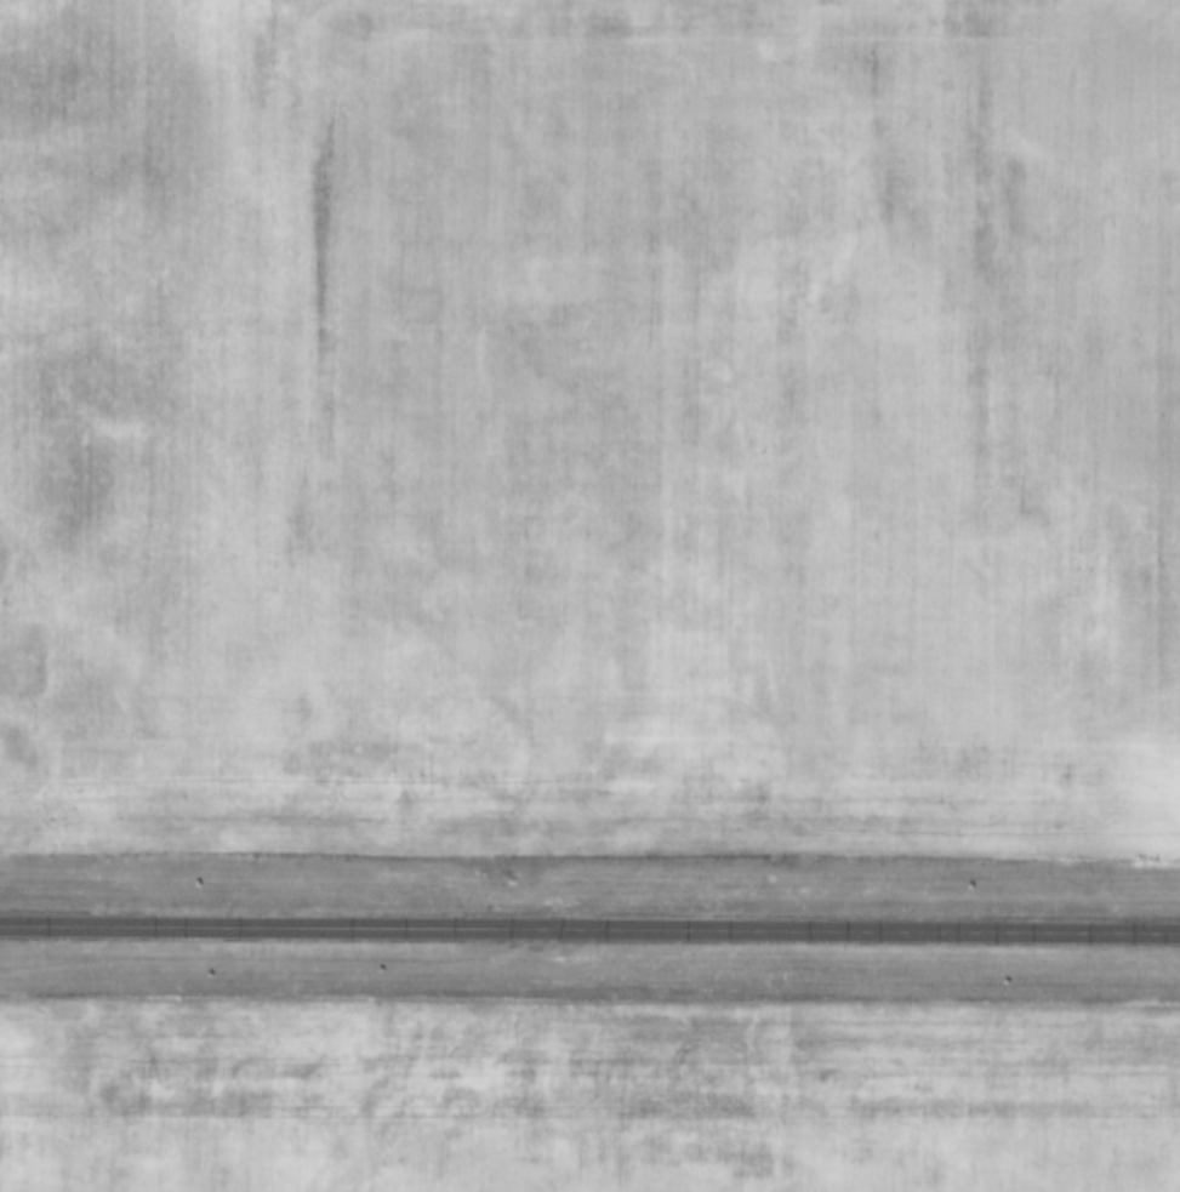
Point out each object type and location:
road: (589, 929)

